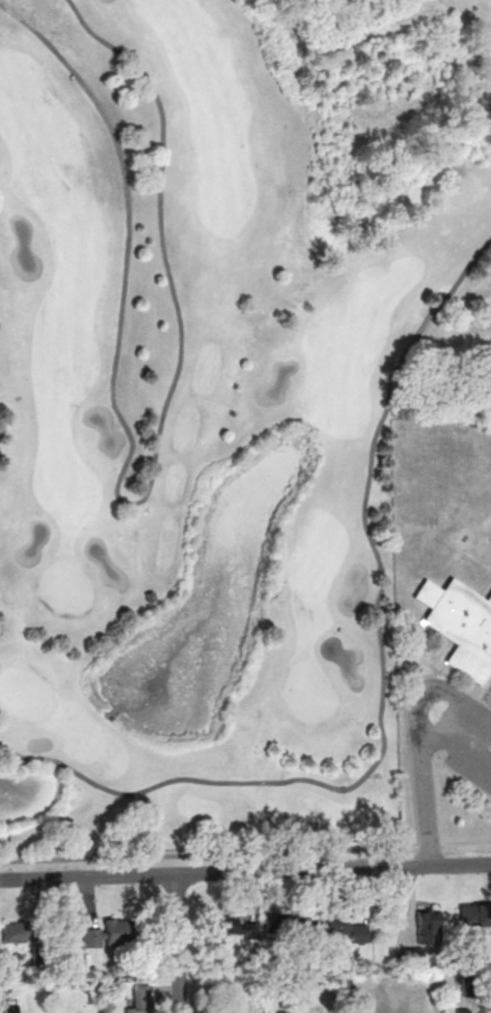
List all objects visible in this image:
park: (223, 402)
road: (129, 504)
building: (149, 596)
building: (460, 626)
road: (383, 684)
road: (426, 687)
road: (423, 767)
road: (430, 842)
road: (185, 854)
road: (245, 870)
building: (475, 915)
building: (289, 925)
building: (427, 926)
building: (236, 927)
building: (347, 929)
building: (18, 932)
building: (109, 934)
road: (178, 943)
building: (413, 957)
building: (140, 1000)
building: (10, 1008)
building: (461, 1010)
building: (279, 1012)

